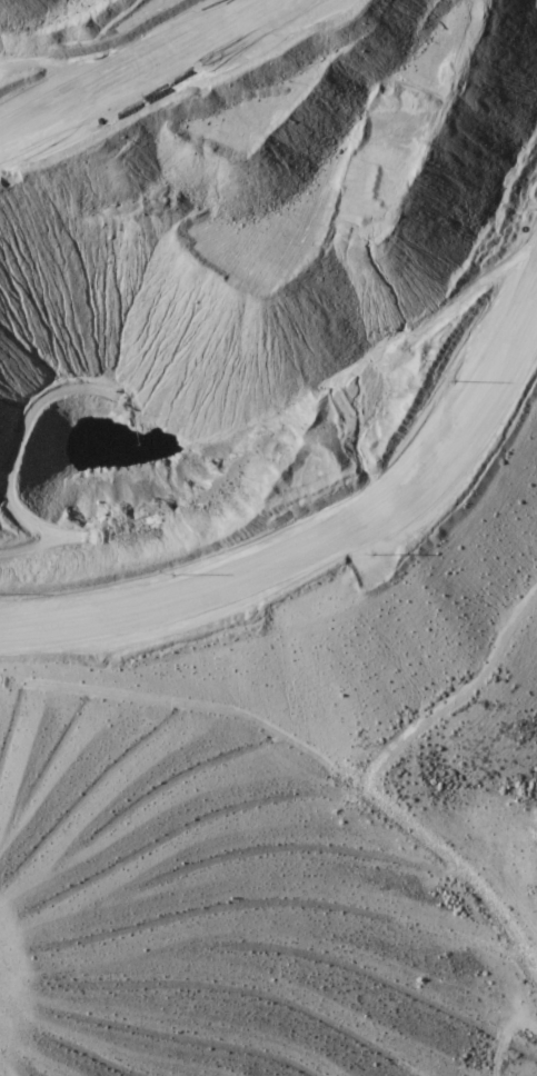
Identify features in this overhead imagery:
quarry: (259, 524)

